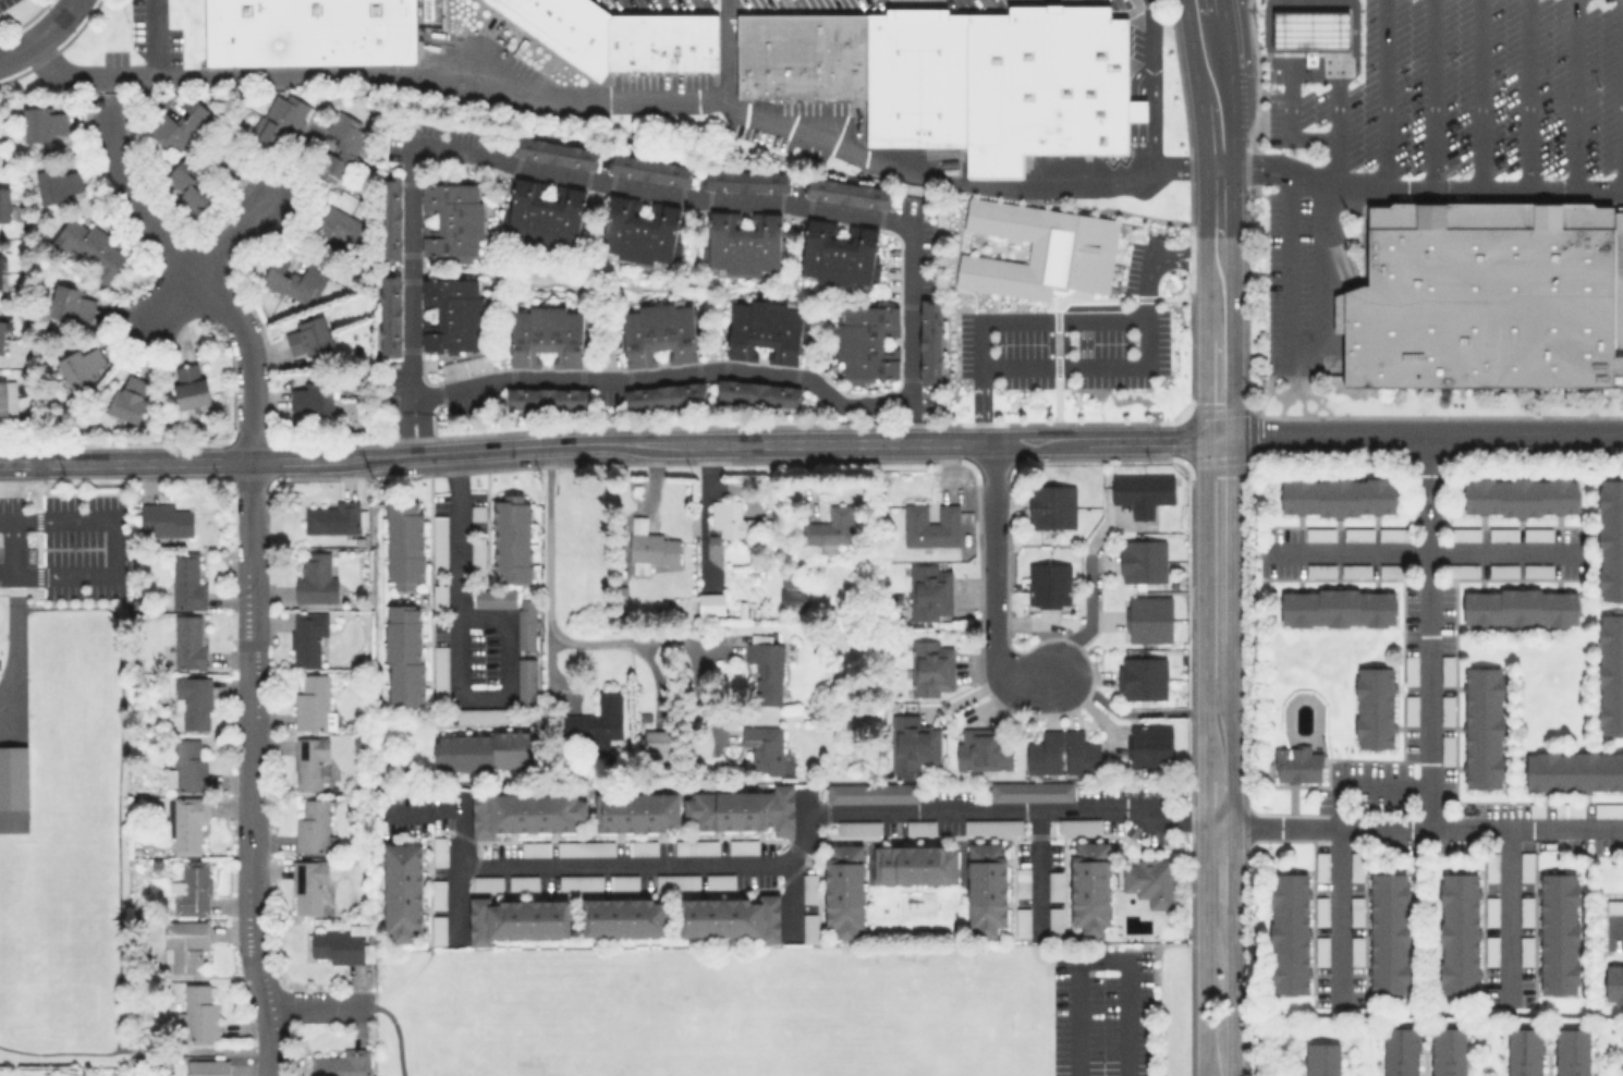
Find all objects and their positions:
parking lot: (742, 3)
parking lot: (974, 3)
road: (1284, 4)
road: (1338, 4)
road: (53, 22)
building: (562, 28)
road: (1285, 29)
road: (1338, 29)
building: (1309, 30)
gas station: (1309, 30)
building: (308, 35)
road: (147, 37)
building: (660, 41)
road: (1238, 50)
road: (16, 52)
road: (729, 52)
building: (801, 60)
road: (1285, 61)
road: (1338, 61)
road: (1311, 73)
building: (916, 80)
road: (83, 81)
building: (1046, 84)
road: (1150, 85)
parking lot: (1472, 91)
road: (1383, 97)
road: (1431, 97)
road: (1479, 97)
road: (1526, 97)
road: (1574, 97)
road: (1621, 97)
road: (94, 99)
road: (1215, 117)
building: (279, 118)
building: (44, 123)
building: (178, 124)
road: (1286, 131)
road: (822, 142)
building: (341, 145)
building: (557, 152)
building: (649, 169)
building: (746, 181)
building: (57, 184)
building: (187, 185)
building: (846, 193)
building: (4, 204)
building: (544, 215)
building: (389, 218)
building: (452, 219)
road: (872, 221)
building: (341, 225)
building: (640, 231)
road: (234, 232)
building: (744, 243)
building: (89, 247)
building: (1039, 249)
road: (1188, 252)
building: (839, 253)
road: (1188, 264)
road: (208, 270)
building: (1, 271)
parking lot: (1286, 274)
building: (1618, 279)
building: (294, 281)
road: (176, 292)
building: (1482, 297)
building: (71, 303)
building: (452, 314)
building: (390, 315)
road: (1044, 325)
road: (1320, 328)
building: (767, 330)
building: (658, 332)
building: (1, 334)
building: (546, 334)
building: (308, 335)
road: (1217, 335)
building: (930, 341)
building: (867, 342)
building: (80, 366)
road: (1087, 368)
building: (190, 386)
building: (757, 393)
building: (664, 395)
building: (8, 396)
building: (130, 398)
building: (310, 398)
building: (547, 398)
road: (412, 427)
road: (1419, 436)
road: (1103, 439)
road: (819, 441)
road: (529, 444)
road: (332, 456)
road: (126, 461)
building: (1142, 491)
building: (1337, 494)
building: (1520, 496)
building: (1051, 505)
building: (477, 512)
building: (332, 517)
building: (727, 517)
road: (56, 518)
building: (166, 519)
road: (16, 524)
building: (930, 525)
building: (829, 528)
building: (1319, 534)
building: (1357, 534)
building: (1392, 534)
building: (1464, 534)
building: (1502, 534)
building: (1537, 534)
building: (511, 537)
building: (1610, 539)
parking lot: (66, 541)
building: (439, 542)
building: (404, 543)
building: (650, 550)
road: (1420, 555)
building: (477, 557)
building: (1142, 560)
building: (1320, 570)
building: (1355, 570)
building: (1392, 570)
building: (1463, 570)
building: (1502, 570)
building: (1537, 570)
road: (64, 574)
building: (315, 577)
road: (548, 578)
building: (186, 580)
building: (1048, 584)
road: (991, 585)
building: (930, 591)
building: (790, 592)
building: (439, 597)
building: (495, 598)
building: (709, 602)
building: (1338, 607)
building: (1518, 607)
building: (1148, 618)
road: (1088, 621)
building: (526, 623)
road: (1428, 633)
building: (306, 637)
building: (188, 640)
building: (403, 653)
road: (459, 656)
building: (766, 667)
building: (931, 667)
building: (1411, 669)
building: (1447, 669)
building: (439, 672)
building: (1610, 673)
building: (526, 674)
building: (1140, 677)
road: (681, 683)
building: (193, 700)
building: (313, 704)
building: (1374, 707)
building: (1411, 709)
building: (1447, 709)
building: (483, 714)
road: (1132, 714)
building: (597, 722)
building: (1484, 726)
building: (658, 744)
building: (911, 744)
building: (762, 746)
building: (1149, 746)
building: (981, 748)
building: (1447, 748)
building: (487, 750)
building: (1062, 753)
road: (1218, 757)
building: (309, 763)
building: (1295, 763)
building: (186, 767)
road: (254, 769)
building: (1574, 770)
building: (12, 777)
building: (1032, 791)
building: (871, 792)
building: (743, 809)
building: (1536, 809)
building: (1569, 809)
building: (1608, 809)
road: (119, 810)
building: (526, 810)
building: (636, 811)
road: (1021, 812)
road: (422, 816)
building: (312, 823)
building: (188, 824)
building: (1078, 824)
building: (992, 826)
building: (859, 827)
building: (919, 827)
building: (642, 846)
building: (696, 846)
building: (743, 846)
building: (534, 847)
building: (585, 847)
building: (439, 849)
road: (1338, 853)
building: (915, 864)
building: (1321, 865)
building: (1355, 865)
building: (1491, 866)
building: (1525, 866)
road: (454, 868)
road: (1035, 876)
building: (1149, 879)
building: (720, 880)
building: (522, 881)
building: (581, 881)
building: (623, 881)
building: (676, 881)
building: (1022, 881)
building: (486, 882)
building: (1053, 884)
building: (1090, 885)
building: (307, 887)
building: (986, 887)
building: (808, 888)
building: (844, 888)
building: (192, 889)
building: (402, 890)
building: (438, 893)
road: (790, 902)
building: (1614, 906)
building: (1491, 909)
building: (1321, 910)
building: (1355, 910)
building: (1525, 910)
building: (730, 916)
building: (624, 917)
building: (518, 918)
building: (1054, 920)
road: (1506, 920)
building: (1022, 921)
building: (808, 927)
building: (438, 929)
road: (1615, 930)
building: (1289, 932)
building: (1559, 932)
building: (1388, 933)
building: (1459, 933)
building: (184, 943)
building: (342, 944)
building: (1321, 950)
building: (1355, 950)
building: (1491, 950)
building: (1525, 950)
road: (1102, 961)
park: (54, 963)
building: (1613, 982)
road: (317, 1005)
park: (786, 1011)
building: (198, 1013)
road: (396, 1029)
road: (135, 1048)
building: (1400, 1051)
building: (1448, 1051)
building: (1524, 1051)
building: (1572, 1051)
building: (1321, 1059)
building: (342, 1063)
building: (207, 1067)

